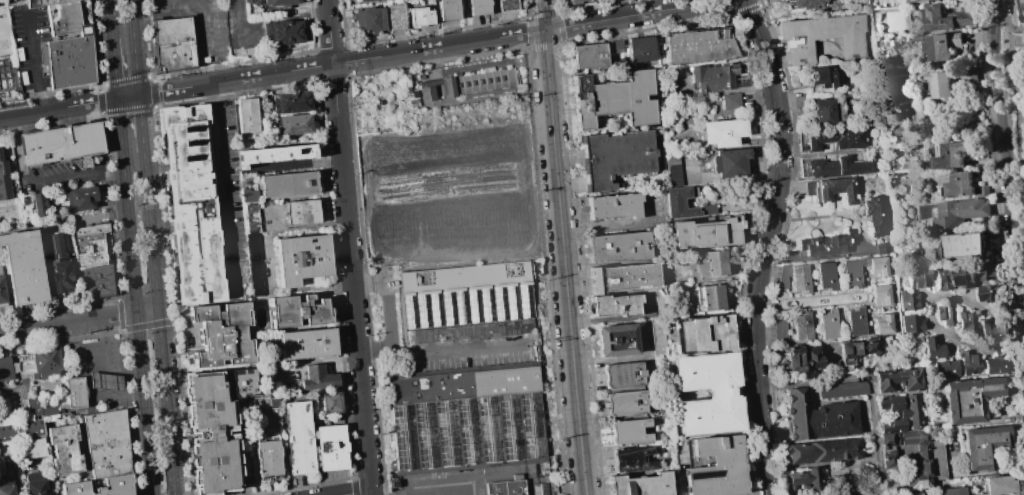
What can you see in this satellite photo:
building: (366, 0)
building: (912, 0)
building: (925, 0)
building: (931, 0)
building: (573, 2)
building: (46, 3)
building: (283, 3)
building: (804, 4)
building: (506, 5)
building: (1023, 5)
building: (477, 7)
road: (996, 7)
building: (448, 10)
building: (396, 17)
building: (420, 17)
building: (940, 18)
road: (110, 20)
building: (369, 20)
road: (1003, 21)
parking lot: (200, 25)
road: (1017, 29)
road: (101, 30)
road: (84, 33)
building: (287, 33)
building: (822, 36)
road: (54, 37)
road: (208, 42)
road: (248, 42)
building: (174, 44)
parking lot: (29, 46)
building: (69, 46)
building: (698, 46)
building: (943, 46)
road: (133, 47)
building: (640, 49)
building: (589, 57)
road: (361, 60)
road: (33, 64)
road: (114, 69)
building: (970, 75)
building: (824, 76)
building: (717, 77)
building: (472, 84)
building: (942, 84)
road: (1016, 98)
building: (614, 100)
building: (729, 101)
building: (294, 103)
road: (1014, 110)
building: (822, 112)
building: (251, 116)
road: (1007, 120)
road: (140, 123)
building: (298, 126)
rooftop solar panel: (191, 127)
building: (721, 132)
building: (835, 138)
rooftop solar panel: (193, 142)
building: (64, 145)
building: (276, 155)
building: (952, 155)
building: (614, 157)
road: (1005, 158)
rooftop solar panel: (196, 159)
building: (728, 162)
building: (842, 166)
building: (803, 168)
road: (222, 172)
parking lot: (61, 177)
building: (4, 179)
road: (43, 181)
building: (945, 184)
building: (960, 184)
building: (291, 185)
crop: (452, 188)
building: (830, 190)
building: (679, 193)
building: (248, 195)
building: (86, 199)
building: (43, 205)
building: (197, 205)
building: (612, 207)
building: (961, 211)
building: (304, 212)
building: (874, 214)
road: (620, 228)
building: (92, 229)
rooftop solar panel: (696, 233)
building: (704, 233)
building: (251, 235)
building: (827, 243)
road: (764, 244)
building: (118, 246)
building: (966, 246)
road: (348, 247)
road: (564, 247)
building: (616, 247)
building: (882, 248)
building: (91, 250)
building: (305, 259)
building: (710, 263)
building: (59, 264)
building: (24, 266)
building: (877, 266)
building: (851, 273)
building: (986, 273)
building: (825, 276)
building: (783, 277)
building: (964, 277)
building: (799, 278)
building: (916, 278)
building: (942, 278)
building: (624, 279)
building: (98, 282)
building: (2, 290)
building: (989, 293)
building: (469, 294)
building: (880, 294)
road: (135, 296)
building: (711, 297)
road: (867, 297)
road: (1023, 301)
building: (907, 302)
road: (767, 305)
building: (616, 306)
road: (147, 310)
road: (1023, 311)
building: (300, 312)
road: (387, 313)
road: (929, 314)
building: (944, 314)
building: (855, 321)
building: (966, 321)
road: (68, 322)
road: (157, 323)
building: (882, 324)
building: (910, 324)
building: (827, 325)
building: (801, 327)
building: (990, 328)
building: (475, 332)
building: (779, 332)
building: (701, 334)
building: (225, 335)
building: (617, 341)
building: (309, 344)
road: (104, 346)
road: (484, 348)
building: (856, 348)
building: (931, 349)
building: (803, 358)
building: (967, 363)
building: (46, 364)
building: (995, 366)
building: (5, 369)
building: (945, 370)
building: (622, 376)
building: (320, 379)
building: (897, 381)
road: (106, 382)
building: (109, 382)
road: (816, 382)
building: (841, 389)
building: (79, 392)
building: (723, 394)
road: (123, 395)
building: (968, 399)
building: (332, 403)
building: (625, 404)
building: (900, 412)
building: (819, 416)
building: (469, 417)
building: (30, 419)
building: (217, 427)
building: (629, 432)
building: (301, 438)
building: (889, 439)
building: (110, 444)
building: (982, 445)
building: (31, 448)
building: (333, 448)
building: (65, 449)
building: (822, 451)
road: (879, 458)
building: (888, 458)
building: (269, 459)
building: (633, 459)
building: (937, 460)
building: (1, 467)
building: (715, 467)
building: (919, 470)
building: (805, 479)
building: (120, 483)
building: (34, 484)
building: (640, 484)
building: (997, 485)
building: (6, 488)
building: (505, 488)
building: (543, 489)
road: (442, 490)
building: (950, 491)
road: (354, 492)
road: (374, 493)

